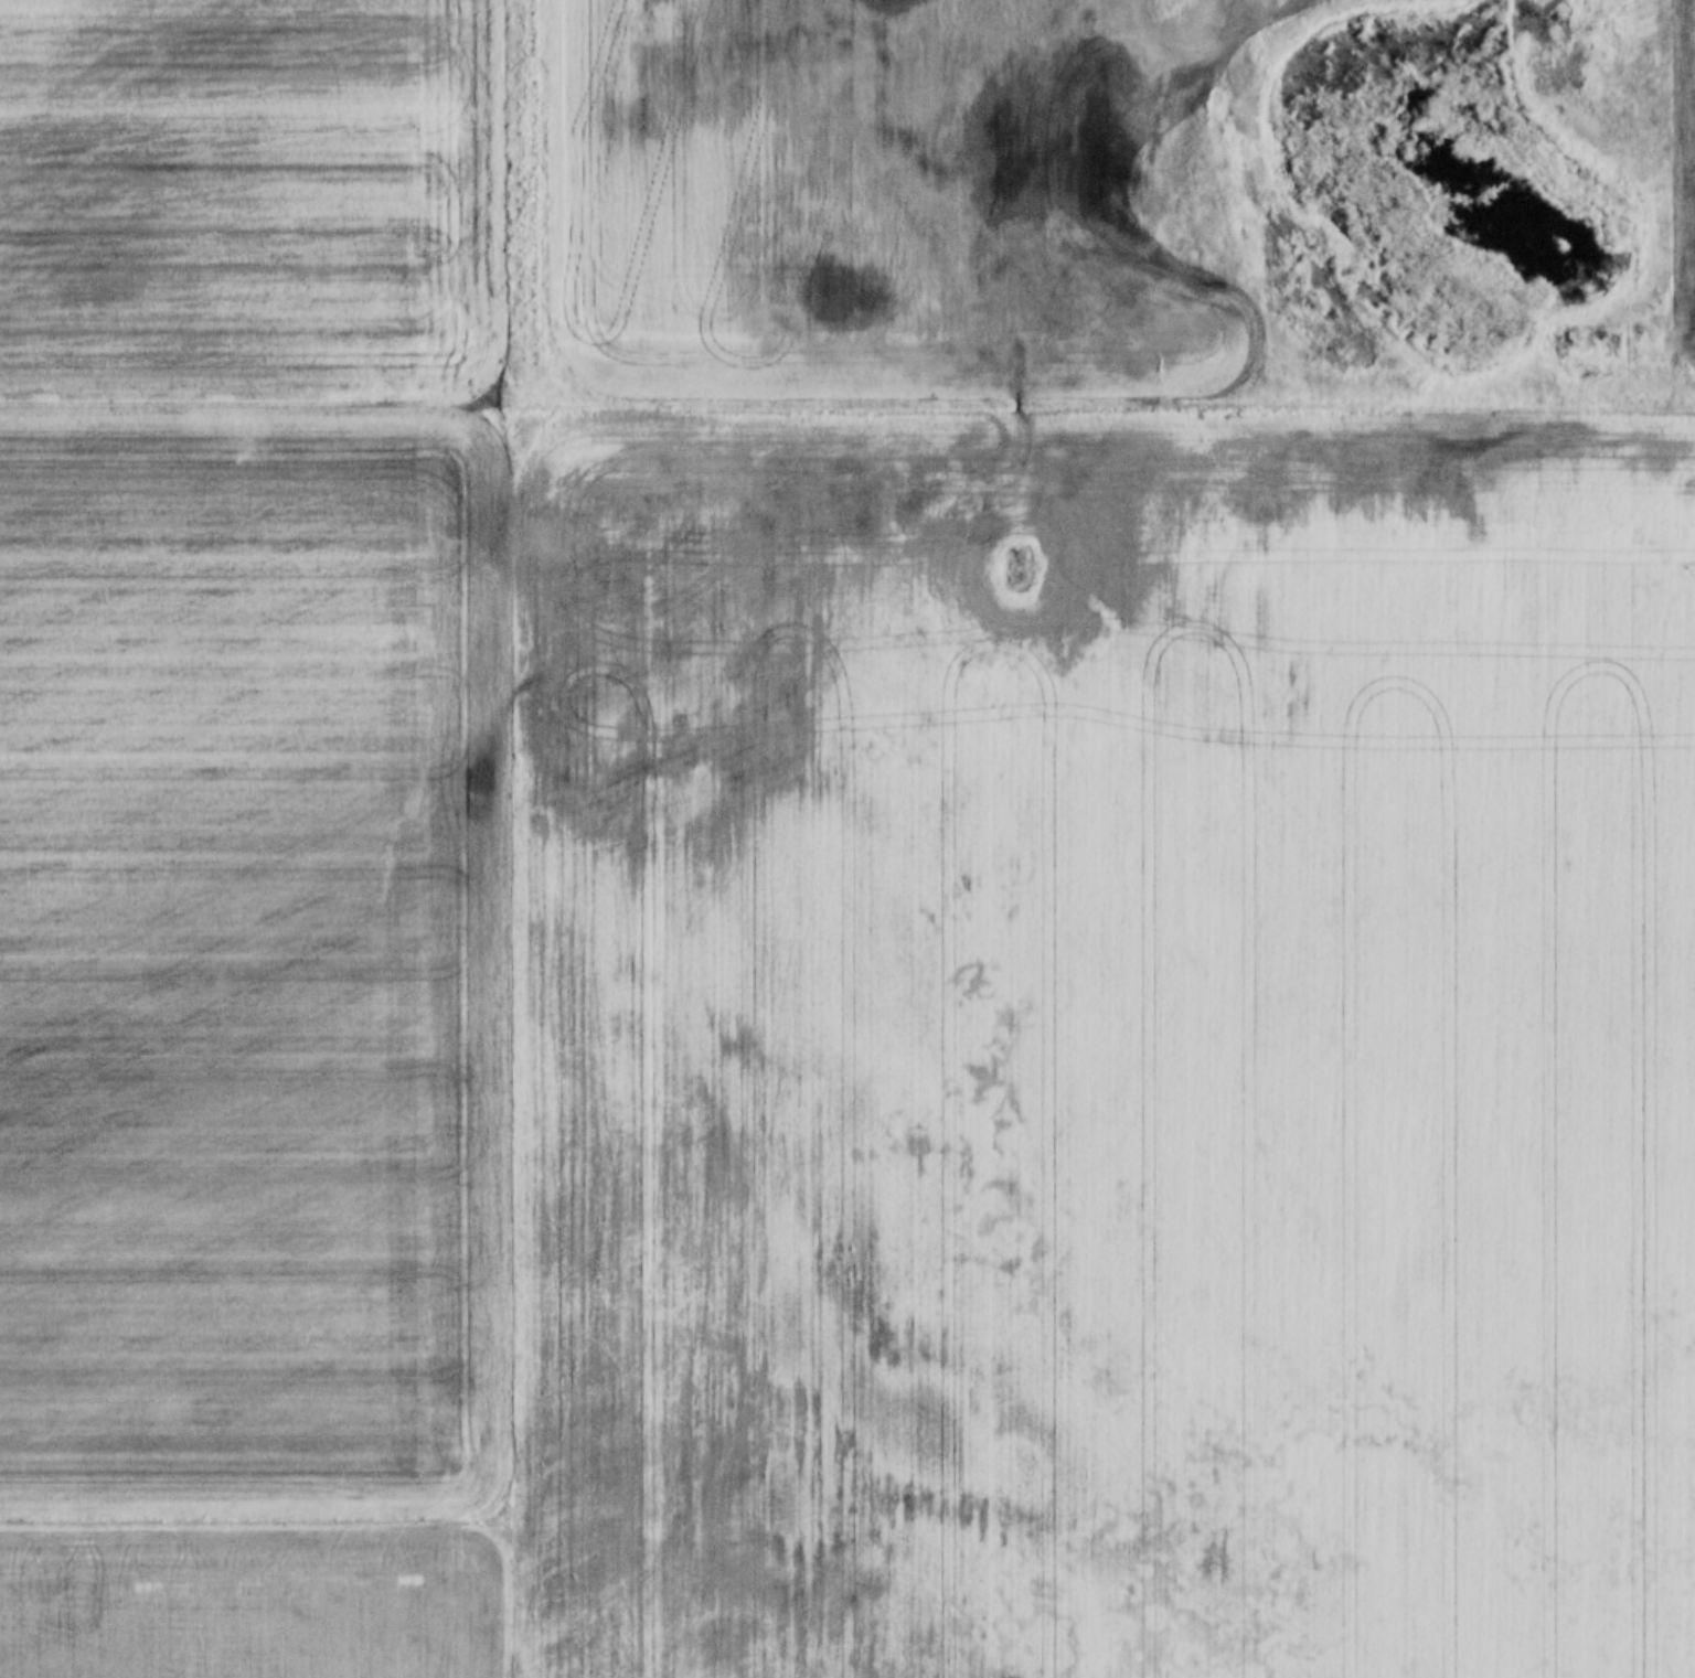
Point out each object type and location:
road: (1107, 412)

